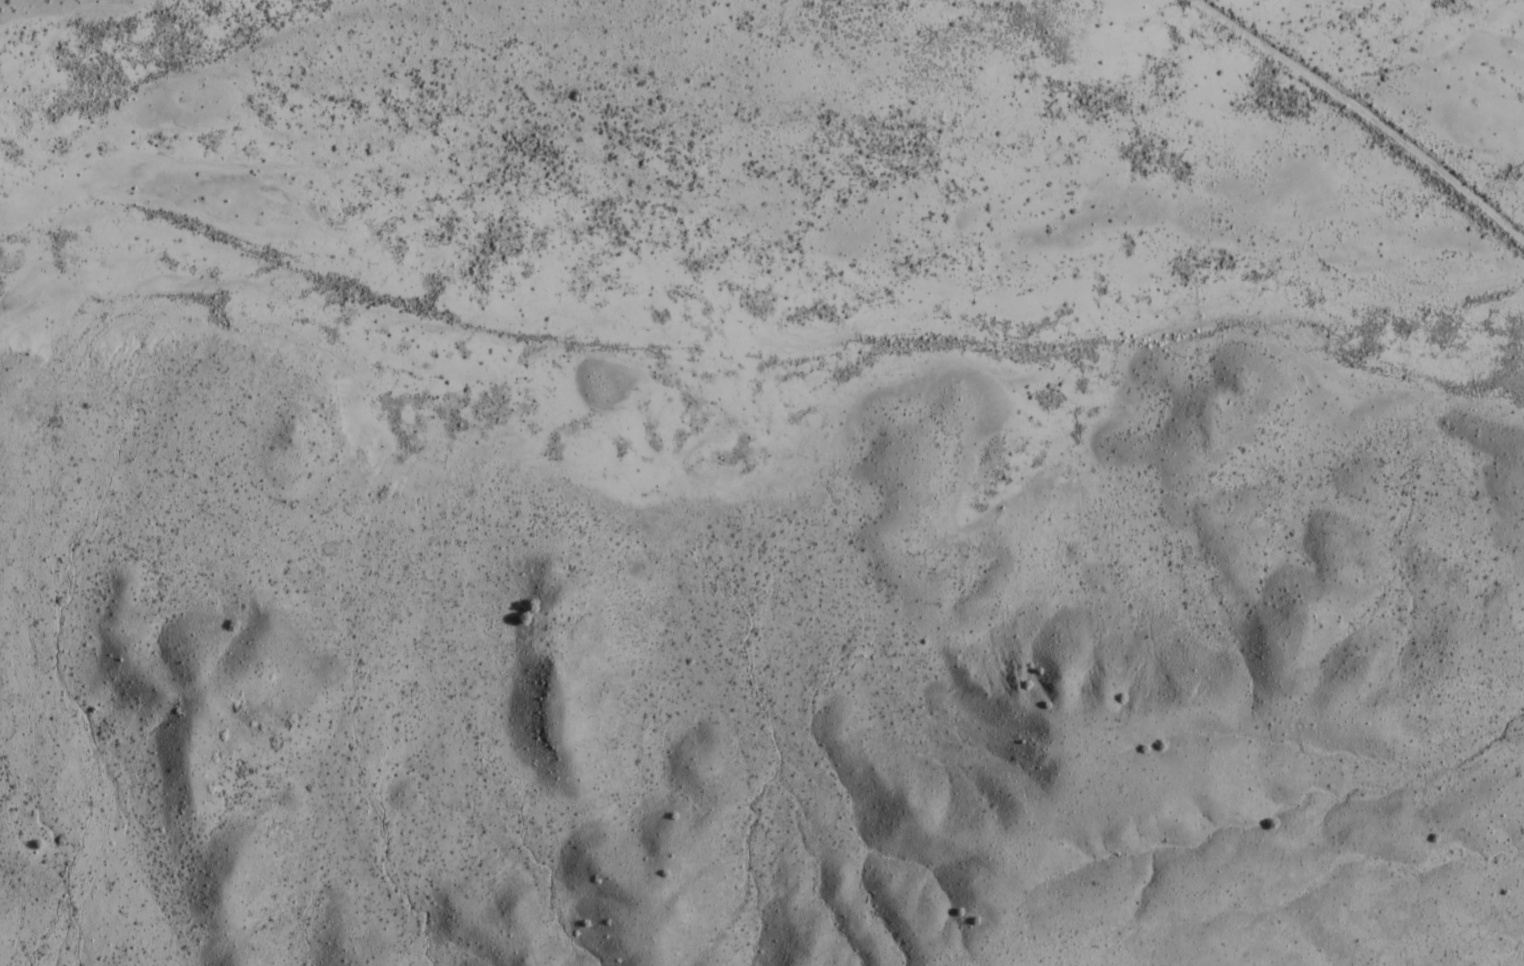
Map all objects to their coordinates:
road: (1390, 114)

